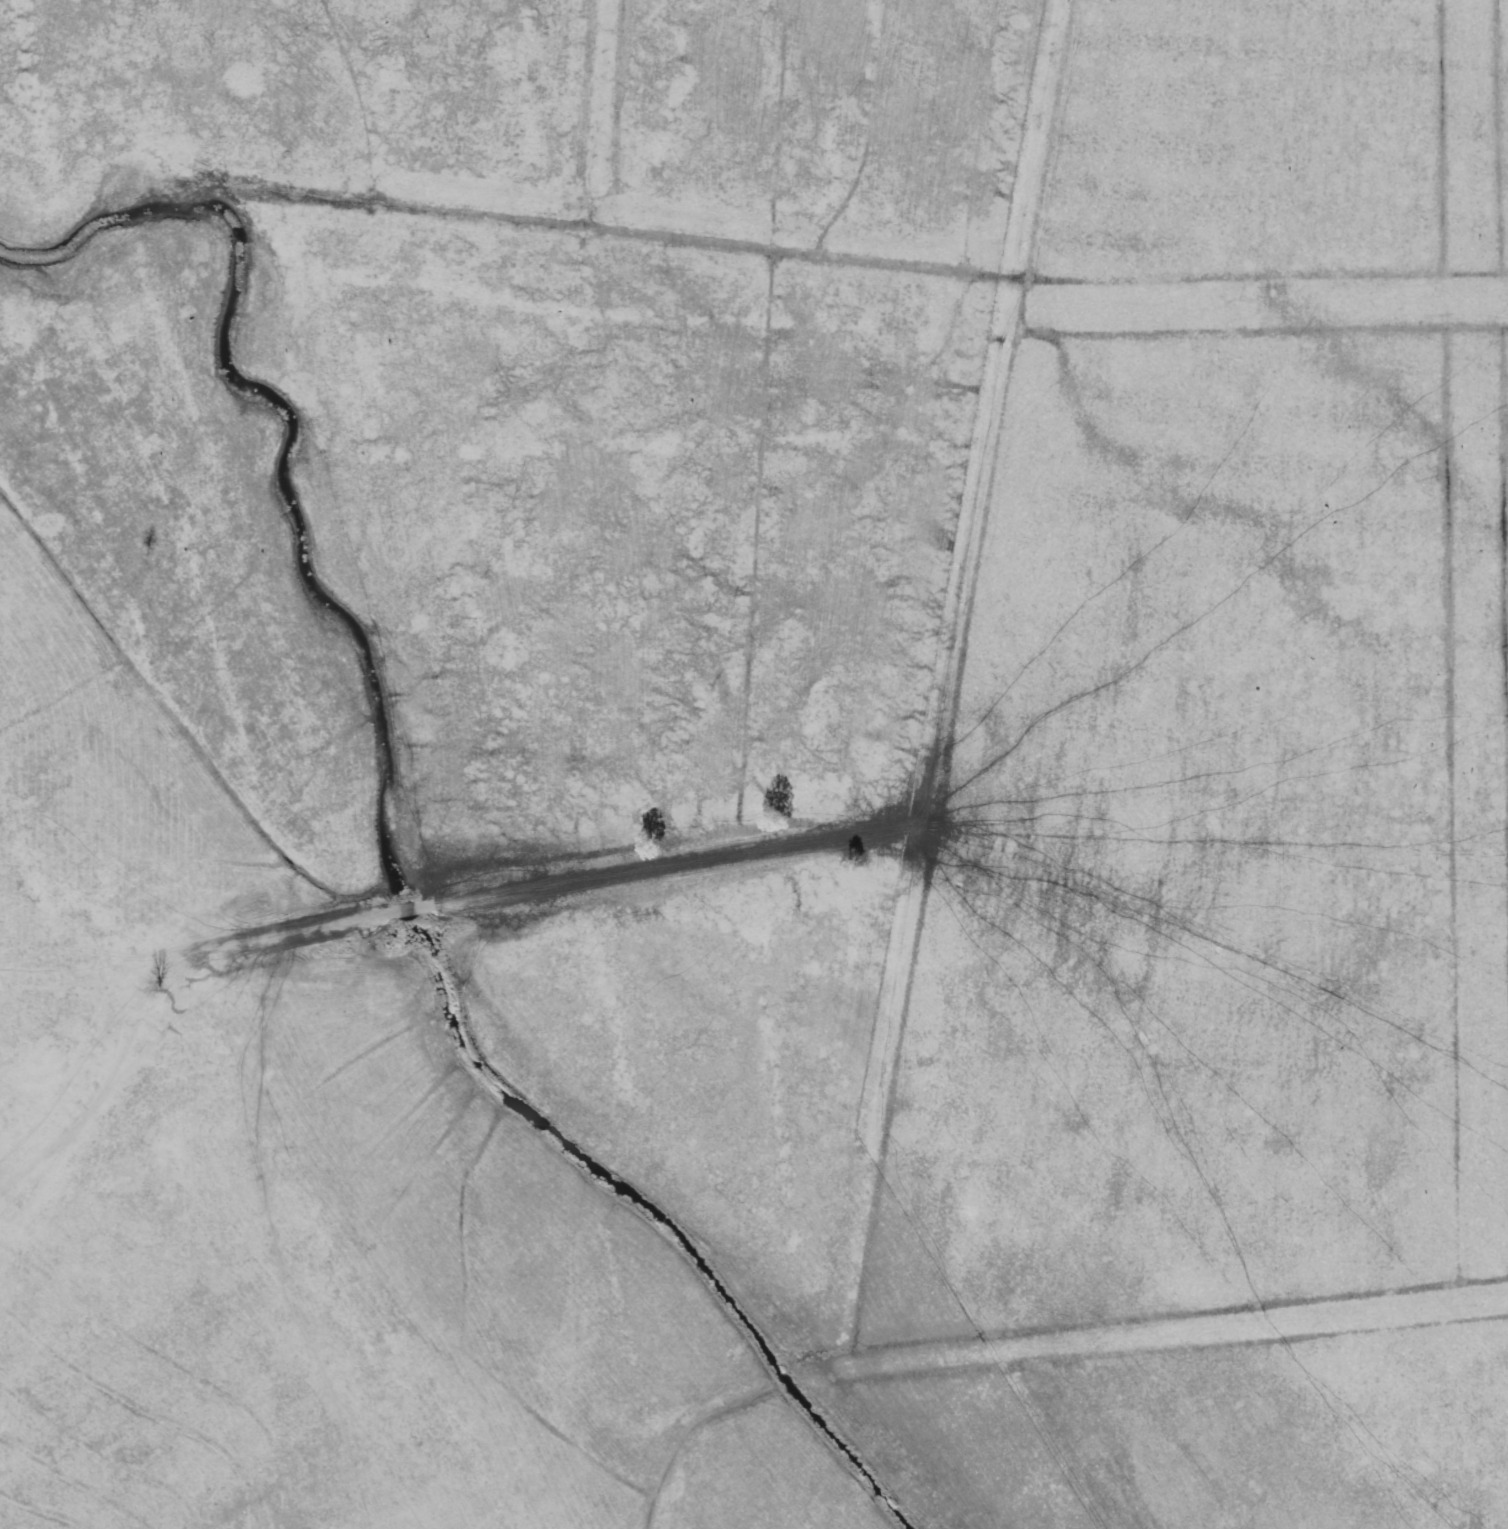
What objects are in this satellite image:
road: (40, 1126)

